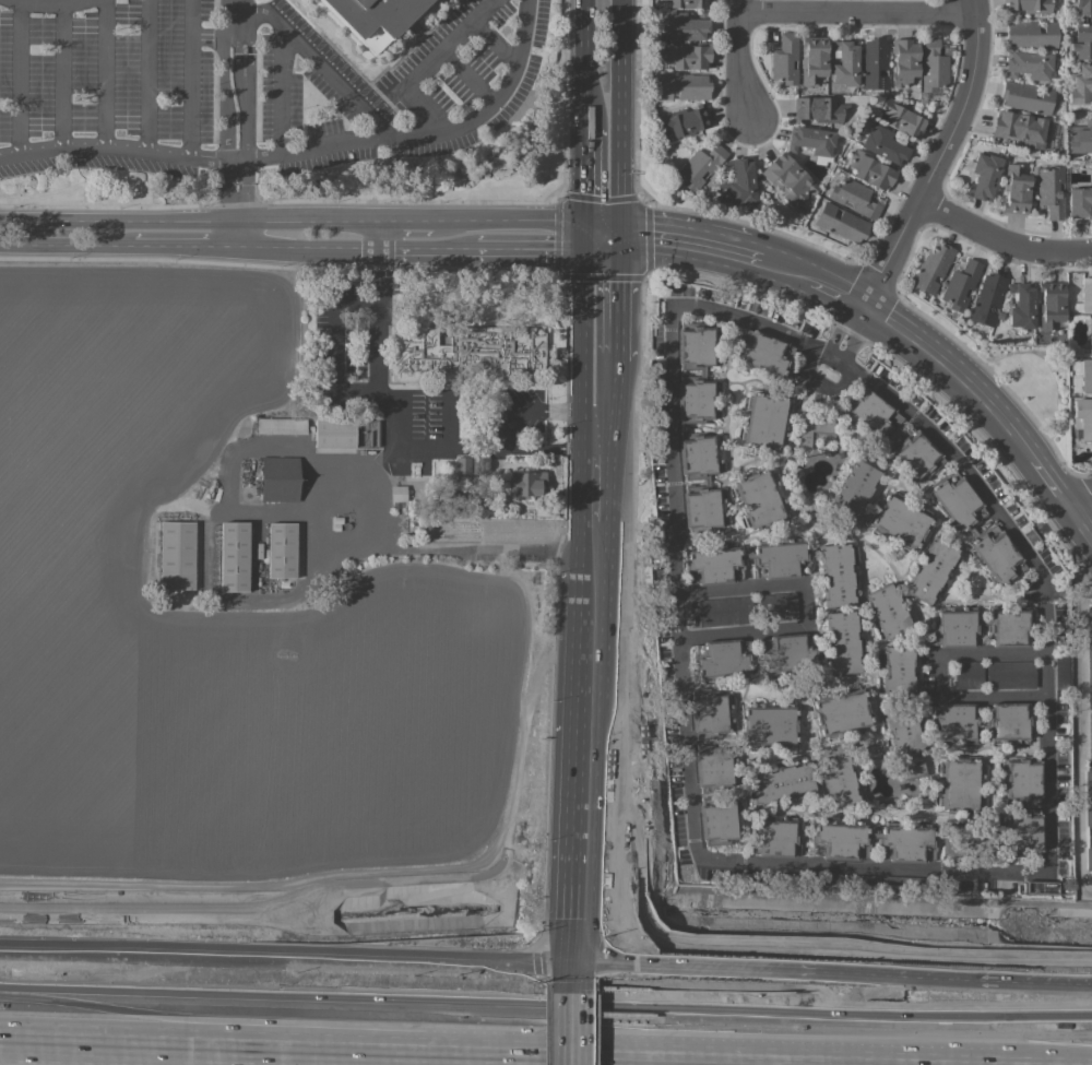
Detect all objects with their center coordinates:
road: (234, 4)
building: (1026, 5)
building: (1083, 7)
road: (55, 8)
road: (857, 13)
building: (372, 16)
road: (586, 26)
building: (681, 26)
building: (1031, 35)
building: (687, 56)
building: (785, 59)
road: (314, 60)
road: (743, 60)
building: (814, 60)
building: (904, 61)
road: (422, 62)
building: (874, 62)
building: (844, 63)
building: (1029, 64)
building: (934, 66)
road: (106, 73)
road: (147, 75)
road: (63, 76)
road: (23, 79)
road: (191, 79)
road: (225, 82)
road: (246, 82)
building: (1082, 84)
parking lot: (250, 85)
building: (682, 86)
road: (585, 88)
road: (277, 91)
building: (1026, 97)
building: (817, 109)
road: (624, 117)
building: (901, 119)
building: (685, 122)
building: (1020, 128)
road: (428, 130)
building: (1080, 138)
building: (811, 140)
building: (883, 144)
road: (112, 147)
road: (237, 157)
road: (938, 157)
building: (700, 166)
building: (871, 171)
building: (983, 177)
road: (585, 178)
building: (788, 179)
building: (738, 184)
traffic signals: (585, 187)
building: (1016, 188)
road: (228, 189)
road: (246, 189)
building: (1051, 191)
building: (854, 198)
building: (1079, 202)
road: (118, 220)
road: (407, 220)
road: (512, 220)
road: (307, 221)
building: (841, 223)
road: (235, 233)
road: (379, 234)
road: (604, 234)
road: (1002, 234)
traffic signals: (655, 237)
road: (664, 237)
road: (66, 244)
road: (183, 245)
road: (307, 246)
road: (397, 247)
road: (447, 248)
road: (533, 248)
traffic signals: (551, 249)
road: (734, 251)
road: (778, 265)
building: (931, 268)
traffic signals: (622, 283)
building: (961, 285)
road: (829, 288)
building: (1087, 295)
road: (622, 296)
building: (987, 298)
building: (1051, 304)
building: (1022, 306)
road: (584, 307)
road: (850, 331)
building: (1090, 334)
road: (339, 346)
road: (925, 346)
building: (464, 352)
building: (763, 353)
building: (701, 370)
building: (1087, 375)
road: (621, 386)
road: (584, 395)
road: (387, 403)
road: (529, 411)
road: (603, 411)
road: (995, 413)
building: (871, 415)
building: (1083, 417)
building: (764, 419)
building: (281, 426)
building: (814, 428)
road: (584, 429)
road: (621, 430)
building: (334, 433)
road: (273, 446)
road: (546, 448)
road: (603, 448)
building: (915, 455)
building: (463, 465)
building: (479, 465)
road: (1038, 468)
road: (621, 476)
building: (278, 478)
building: (707, 482)
building: (525, 484)
road: (366, 492)
building: (399, 493)
building: (853, 493)
road: (583, 498)
building: (756, 498)
road: (1079, 500)
road: (621, 519)
building: (902, 522)
road: (1079, 525)
building: (989, 532)
building: (282, 549)
road: (474, 549)
building: (177, 555)
building: (234, 556)
road: (582, 558)
building: (714, 563)
road: (212, 564)
building: (931, 570)
building: (836, 575)
road: (1080, 579)
road: (805, 604)
building: (778, 606)
building: (725, 611)
building: (888, 611)
building: (954, 626)
building: (1010, 626)
crop: (209, 632)
building: (843, 642)
building: (788, 652)
building: (722, 658)
building: (1089, 658)
road: (578, 668)
building: (898, 671)
road: (939, 674)
building: (969, 674)
building: (843, 712)
building: (711, 713)
building: (954, 722)
building: (1010, 722)
building: (771, 727)
building: (904, 733)
building: (1090, 735)
road: (621, 749)
road: (1080, 749)
building: (713, 766)
building: (912, 771)
building: (836, 777)
building: (959, 782)
building: (782, 783)
building: (1088, 797)
building: (1014, 806)
building: (717, 823)
building: (778, 838)
building: (968, 839)
building: (841, 840)
building: (904, 843)
building: (1089, 861)
road: (571, 866)
road: (878, 867)
building: (894, 881)
building: (1040, 888)
traffic signals: (569, 943)
road: (284, 956)
road: (595, 966)
traffic signals: (646, 968)
road: (717, 970)
road: (569, 979)
road: (952, 979)
road: (622, 980)
traffic signals: (624, 997)
road: (545, 1006)
road: (568, 1029)
road: (622, 1029)
road: (58, 1039)
road: (604, 1051)

